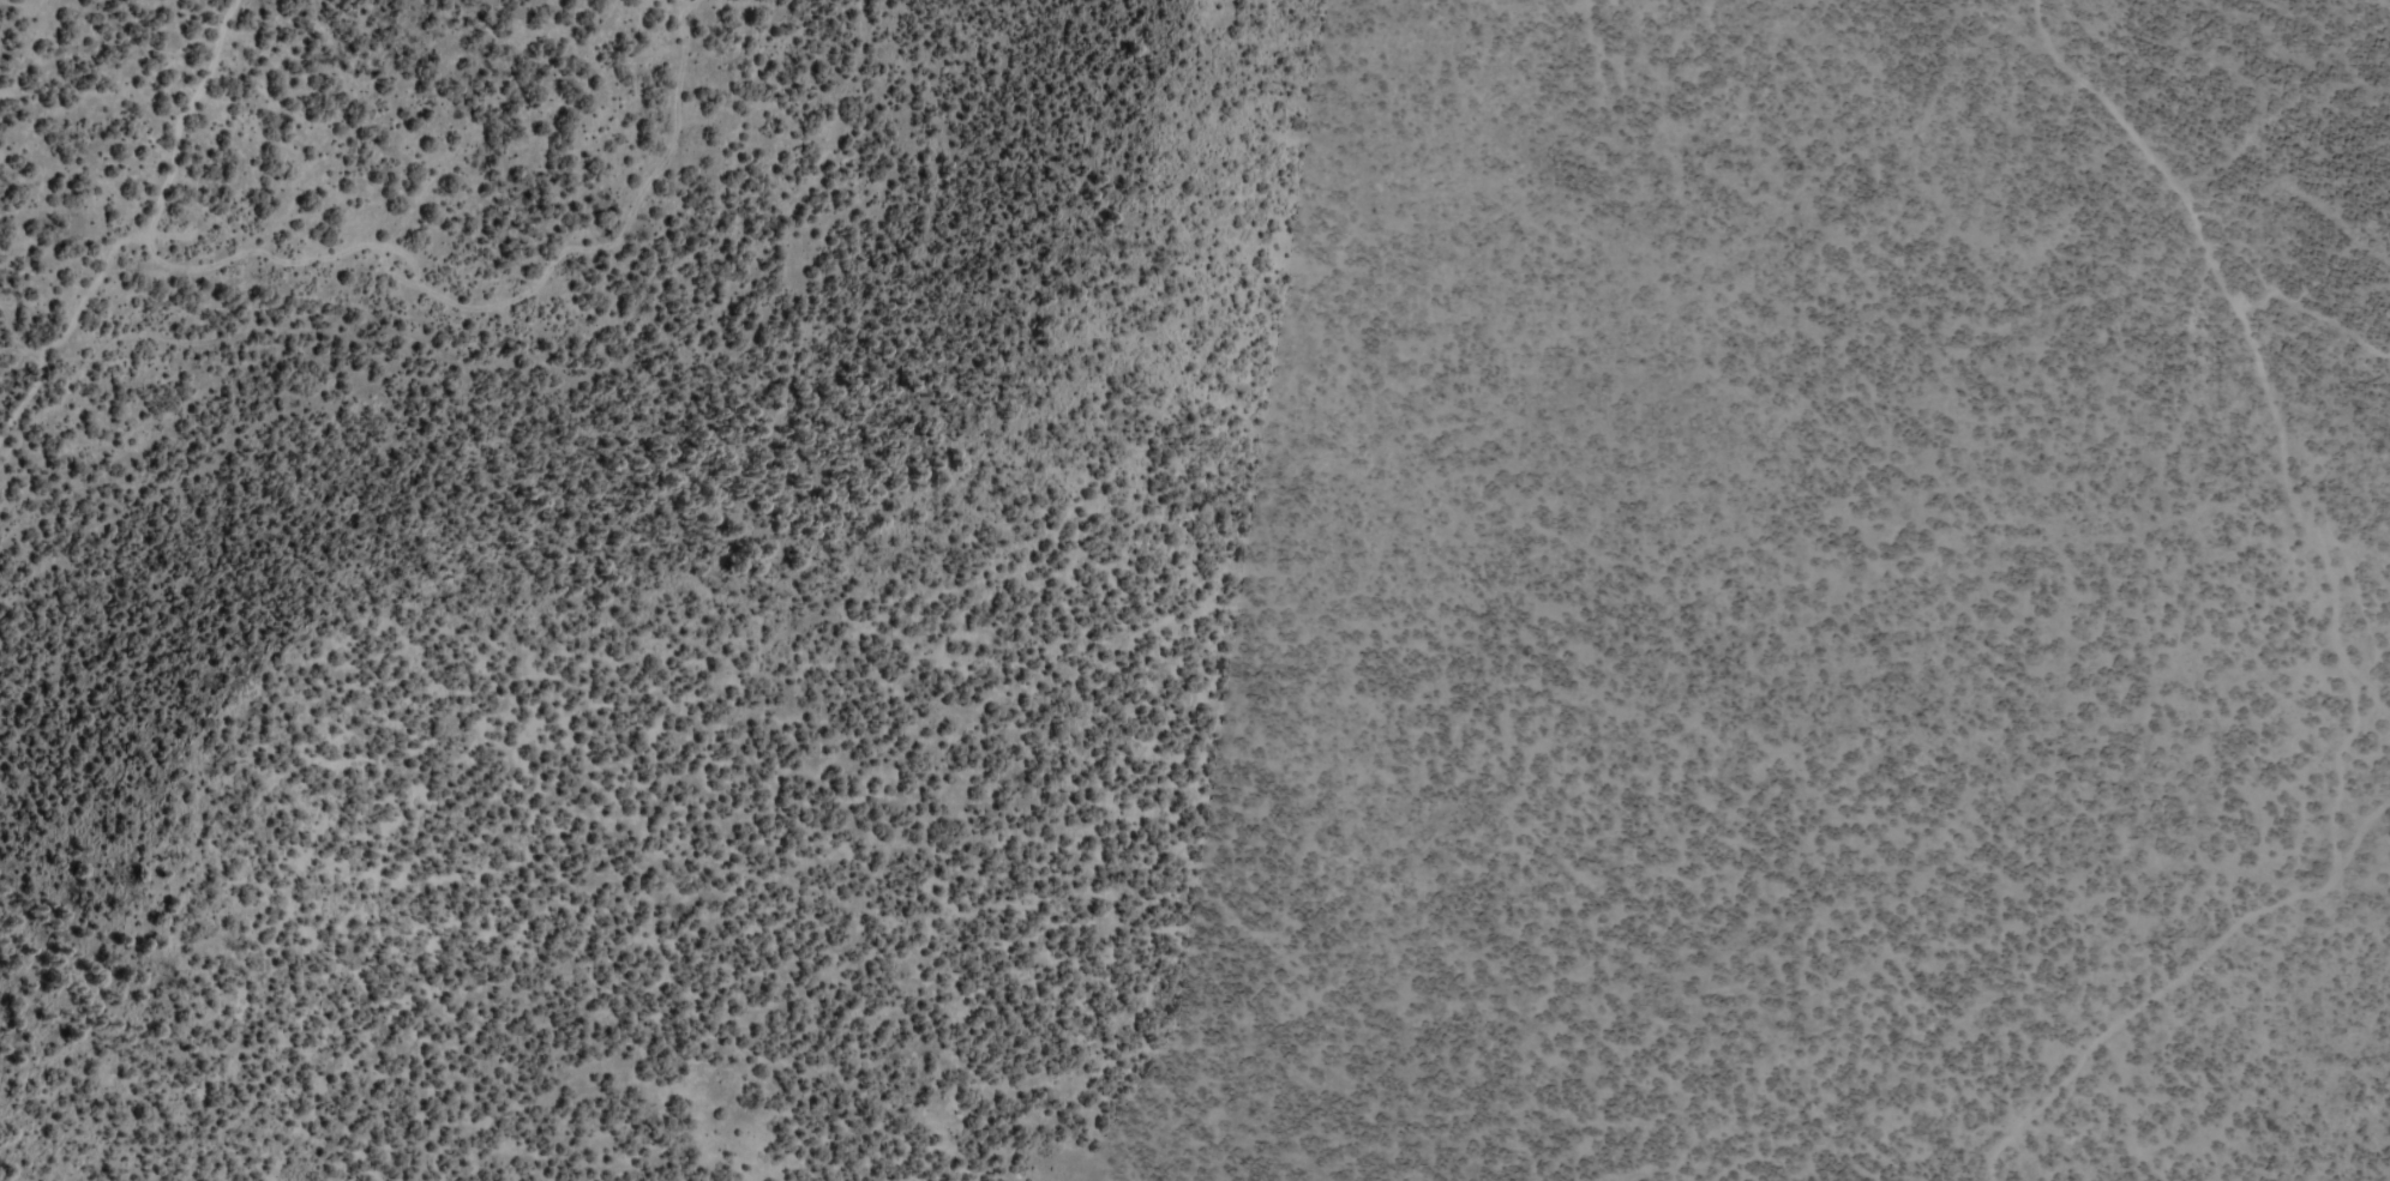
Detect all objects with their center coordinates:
road: (2296, 617)

